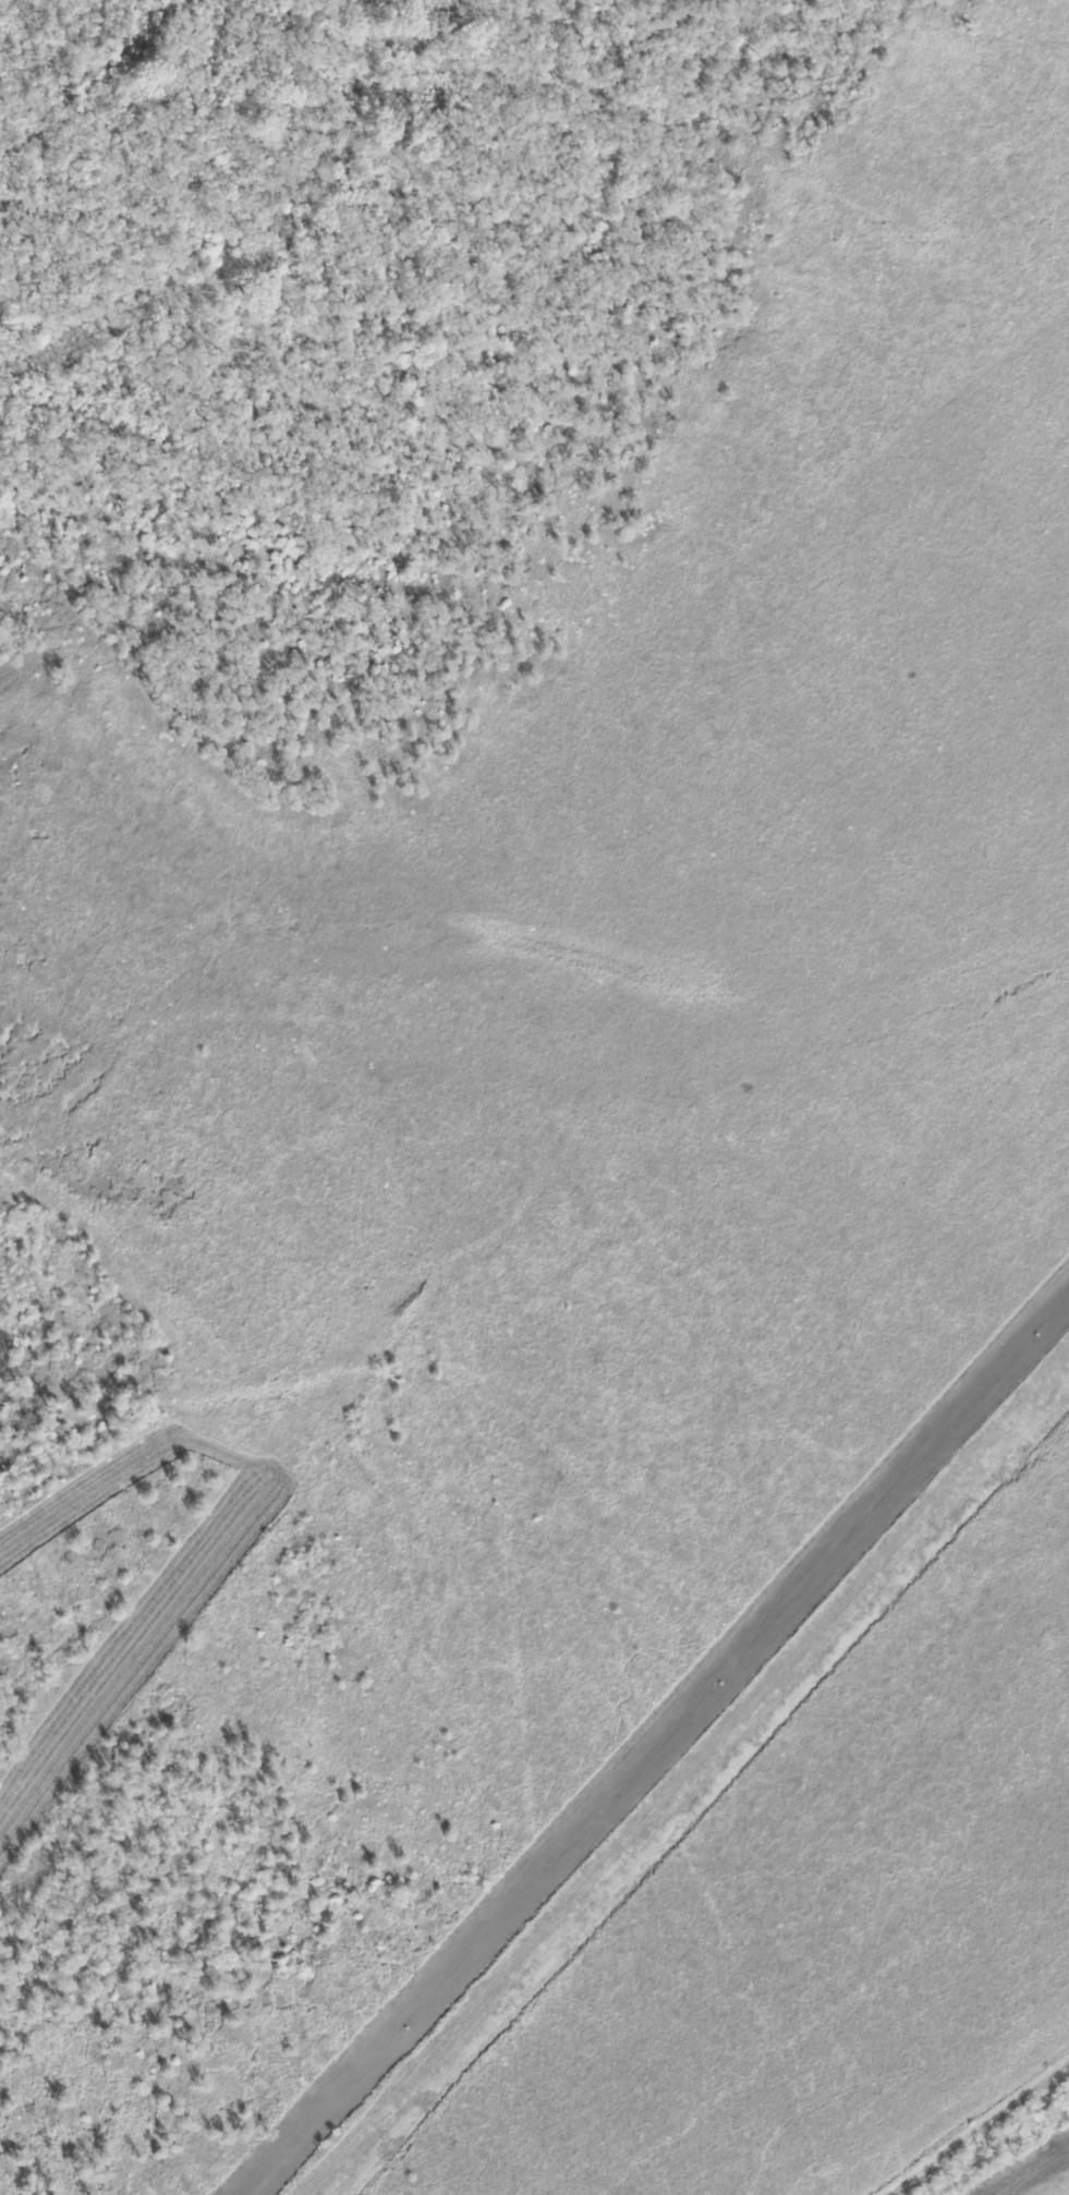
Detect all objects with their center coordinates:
road: (699, 1784)

